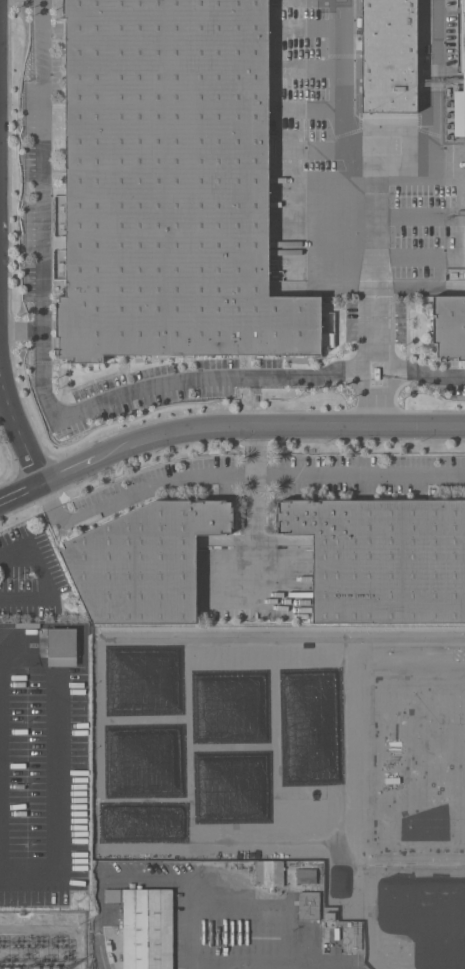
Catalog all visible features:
building: (389, 56)
building: (460, 79)
road: (356, 178)
building: (176, 184)
building: (450, 323)
road: (21, 329)
road: (374, 365)
road: (445, 374)
road: (47, 398)
road: (375, 401)
road: (21, 424)
road: (225, 428)
road: (237, 472)
road: (256, 509)
building: (383, 558)
building: (145, 561)
road: (45, 581)
road: (327, 640)
building: (62, 647)
road: (58, 805)
building: (269, 873)
building: (306, 876)
building: (308, 905)
building: (329, 916)
building: (145, 926)
power substation: (42, 939)
railway: (99, 951)
road: (264, 961)

